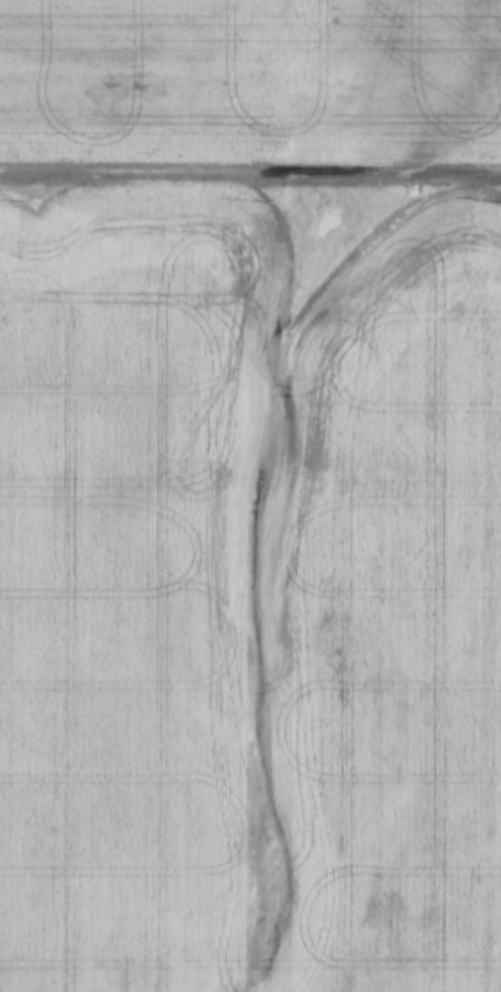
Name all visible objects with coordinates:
road: (250, 163)

